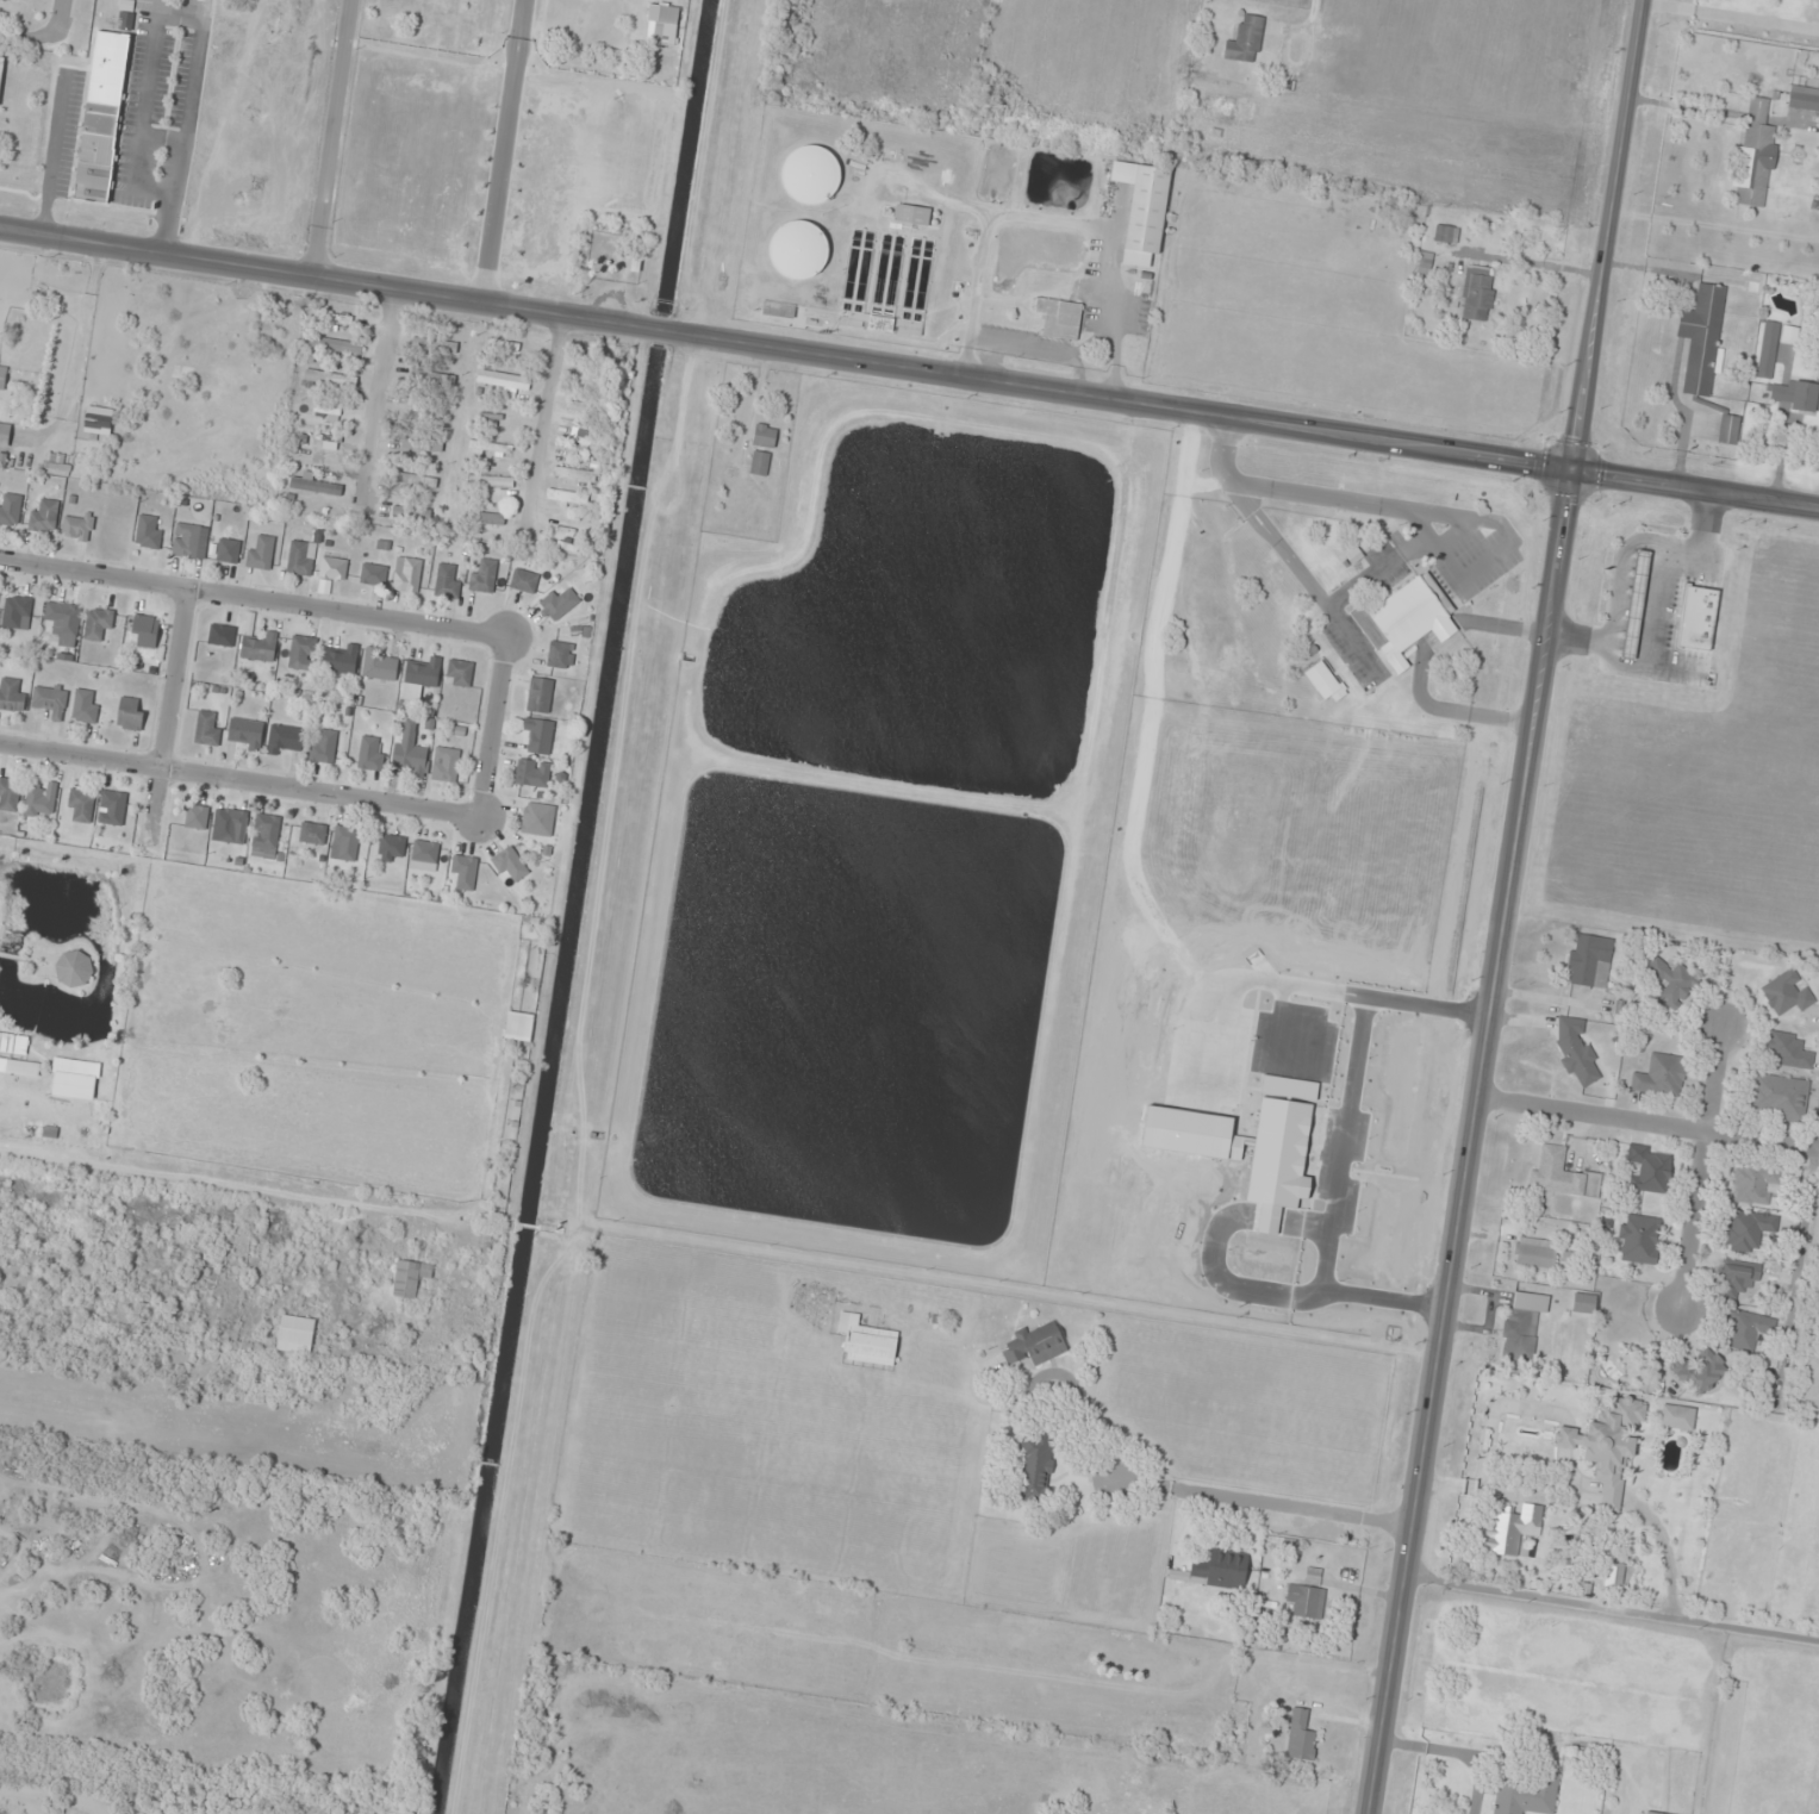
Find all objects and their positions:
building: (666, 25)
building: (1246, 40)
building: (1804, 98)
building: (102, 117)
road: (330, 136)
building: (1755, 155)
building: (810, 173)
storage tank: (810, 173)
building: (1141, 208)
building: (911, 216)
road: (1090, 226)
building: (1446, 235)
wastewater plant: (951, 241)
building: (798, 248)
storage tank: (798, 248)
road: (1534, 264)
road: (976, 292)
building: (1477, 294)
building: (1058, 317)
building: (1789, 335)
building: (1701, 339)
road: (787, 345)
building: (335, 347)
building: (434, 347)
building: (503, 347)
building: (1768, 350)
building: (2, 373)
building: (330, 379)
building: (431, 380)
building: (498, 381)
road: (378, 391)
building: (1793, 397)
road: (544, 423)
building: (1728, 429)
building: (4, 436)
building: (764, 436)
building: (485, 447)
building: (759, 463)
traffic signals: (1575, 469)
building: (55, 470)
building: (573, 474)
building: (417, 481)
building: (491, 481)
building: (313, 485)
road: (1696, 487)
building: (567, 498)
road: (1340, 499)
building: (10, 511)
building: (44, 517)
building: (400, 517)
building: (77, 528)
road: (1452, 531)
building: (148, 532)
building: (189, 541)
road: (1278, 546)
building: (228, 551)
building: (261, 554)
building: (300, 559)
building: (332, 569)
road: (1377, 571)
road: (1452, 571)
building: (373, 575)
building: (406, 575)
building: (482, 576)
building: (523, 581)
building: (446, 582)
road: (256, 600)
building: (557, 604)
building: (1636, 605)
building: (17, 613)
building: (1404, 618)
building: (1696, 619)
building: (98, 623)
building: (66, 624)
building: (145, 630)
building: (222, 636)
road: (1354, 642)
building: (260, 648)
building: (1309, 650)
building: (301, 653)
building: (560, 655)
building: (341, 661)
road: (1421, 663)
building: (379, 666)
building: (459, 673)
building: (421, 679)
building: (1323, 681)
building: (540, 696)
building: (12, 697)
building: (50, 699)
building: (85, 706)
building: (130, 713)
road: (170, 715)
building: (207, 728)
road: (499, 730)
building: (247, 734)
building: (537, 736)
building: (284, 740)
building: (323, 747)
building: (370, 754)
building: (409, 759)
building: (444, 765)
building: (532, 774)
road: (242, 783)
building: (10, 794)
building: (41, 799)
building: (80, 806)
building: (112, 809)
building: (197, 817)
building: (537, 819)
building: (233, 827)
building: (266, 834)
building: (312, 834)
wastewater plant: (886, 837)
building: (345, 843)
building: (391, 846)
building: (424, 855)
building: (510, 864)
building: (463, 872)
road: (1509, 906)
building: (1590, 961)
building: (75, 971)
building: (1670, 983)
building: (1787, 993)
building: (1576, 1052)
building: (1789, 1052)
building: (1661, 1077)
building: (1781, 1098)
road: (1643, 1122)
road: (192, 1154)
building: (1650, 1170)
road: (1701, 1170)
building: (1561, 1176)
building: (1753, 1185)
building: (1749, 1232)
building: (1639, 1240)
building: (1539, 1254)
building: (410, 1278)
building: (1738, 1279)
building: (1583, 1303)
building: (1746, 1330)
building: (295, 1336)
building: (1519, 1336)
building: (867, 1341)
building: (1035, 1345)
building: (1700, 1372)
building: (1677, 1417)
building: (1608, 1445)
building: (1035, 1466)
road: (1300, 1507)
building: (1513, 1531)
building: (1327, 1536)
building: (1217, 1570)
building: (1308, 1596)
building: (1300, 1737)
building: (1527, 1795)
building: (1650, 1813)

